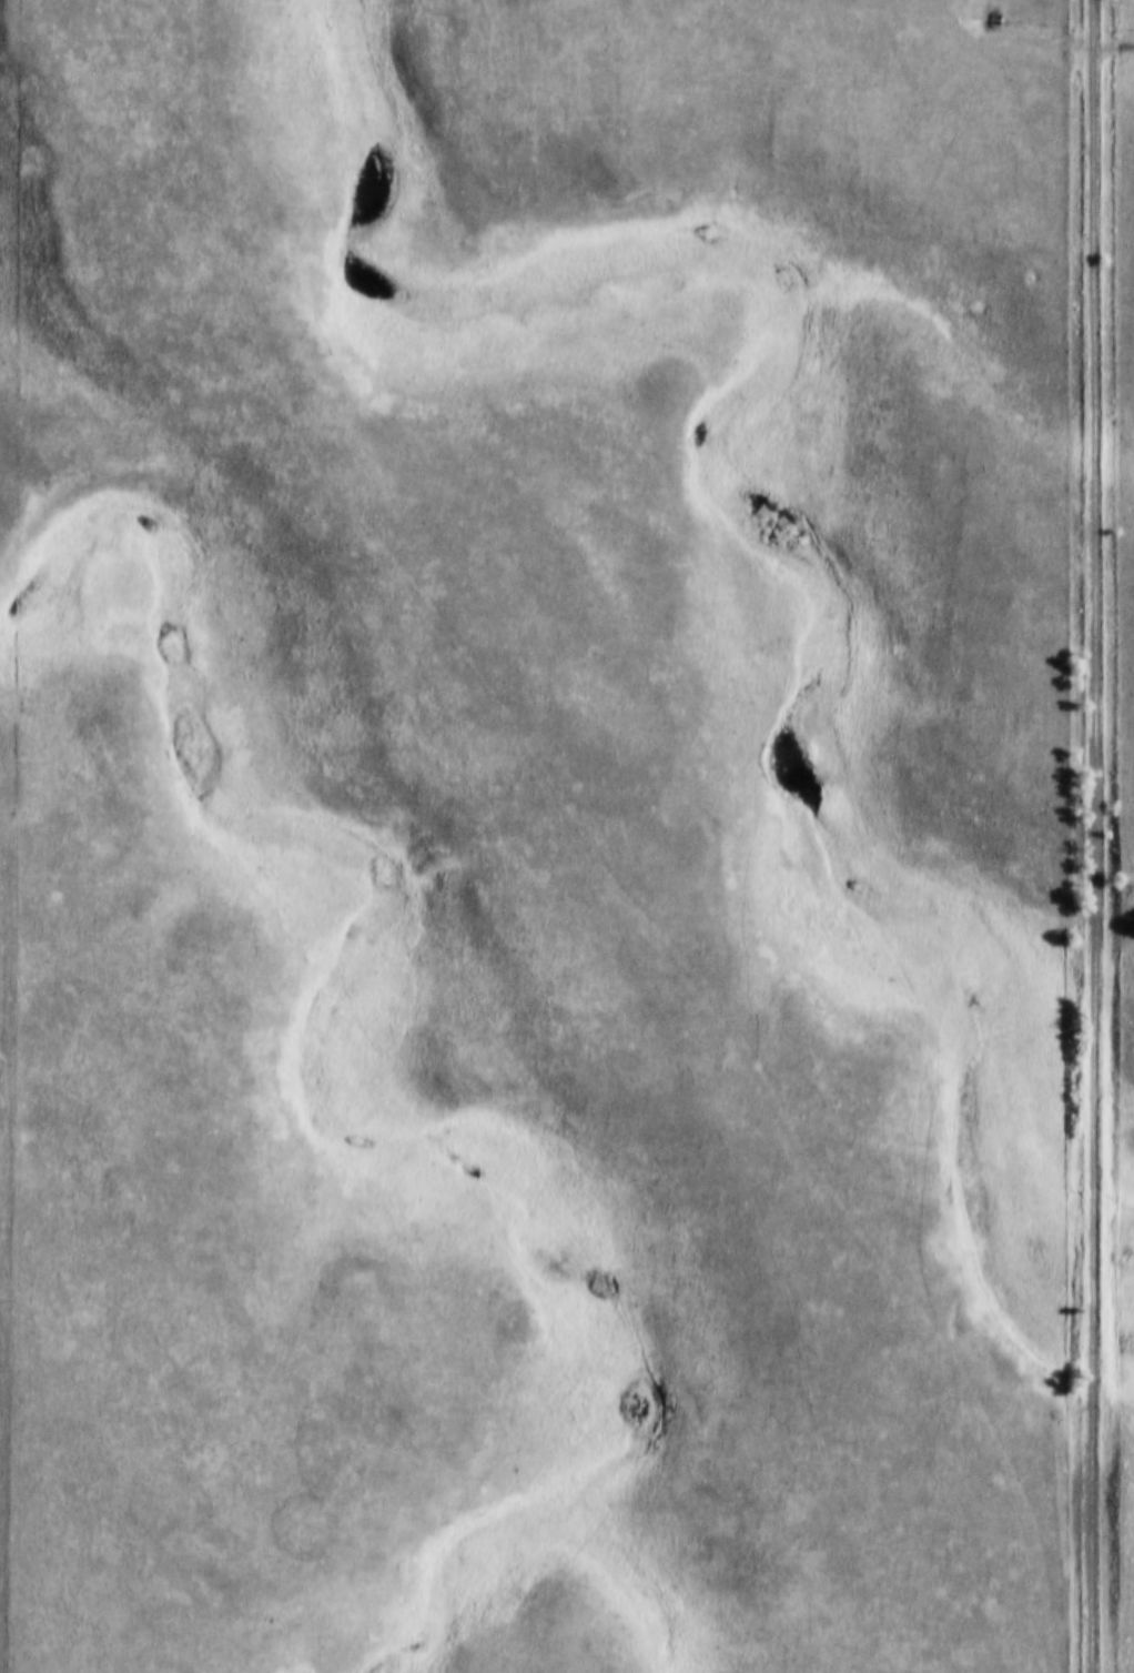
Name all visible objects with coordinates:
road: (1093, 836)

